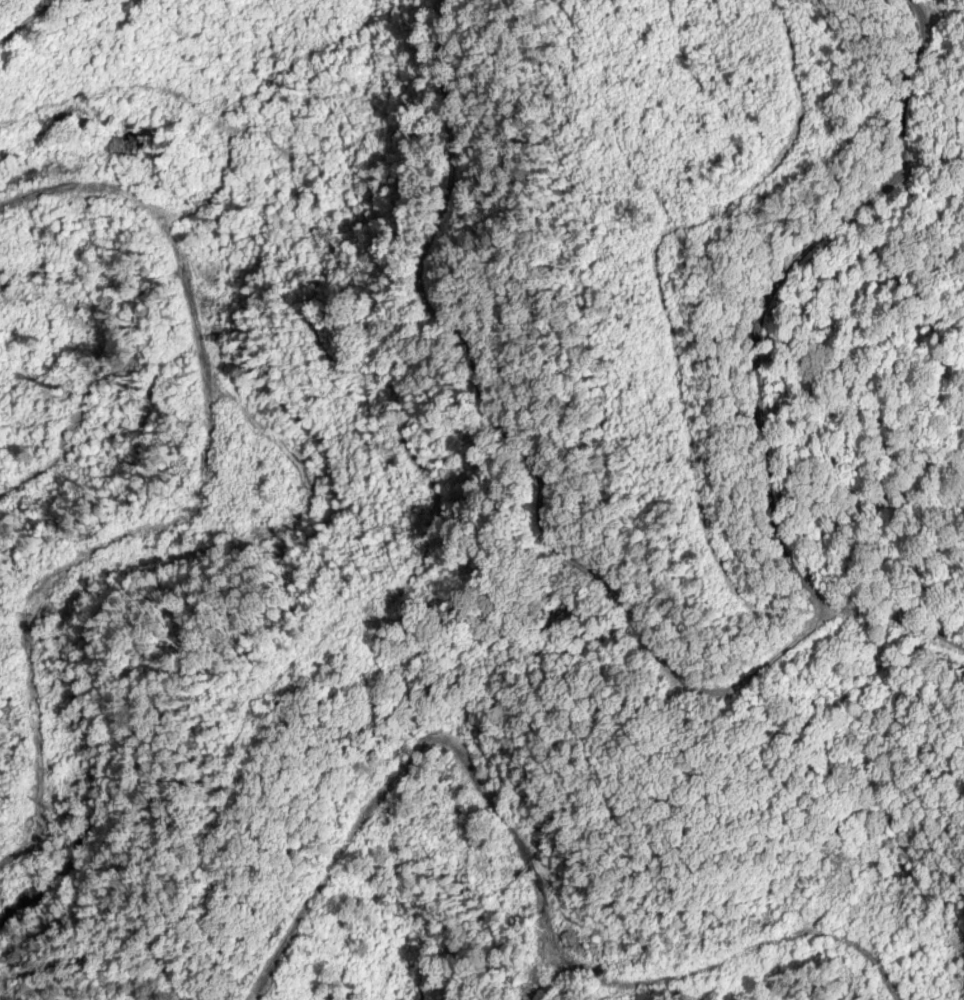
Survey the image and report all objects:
road: (903, 182)
road: (781, 535)
road: (958, 646)

